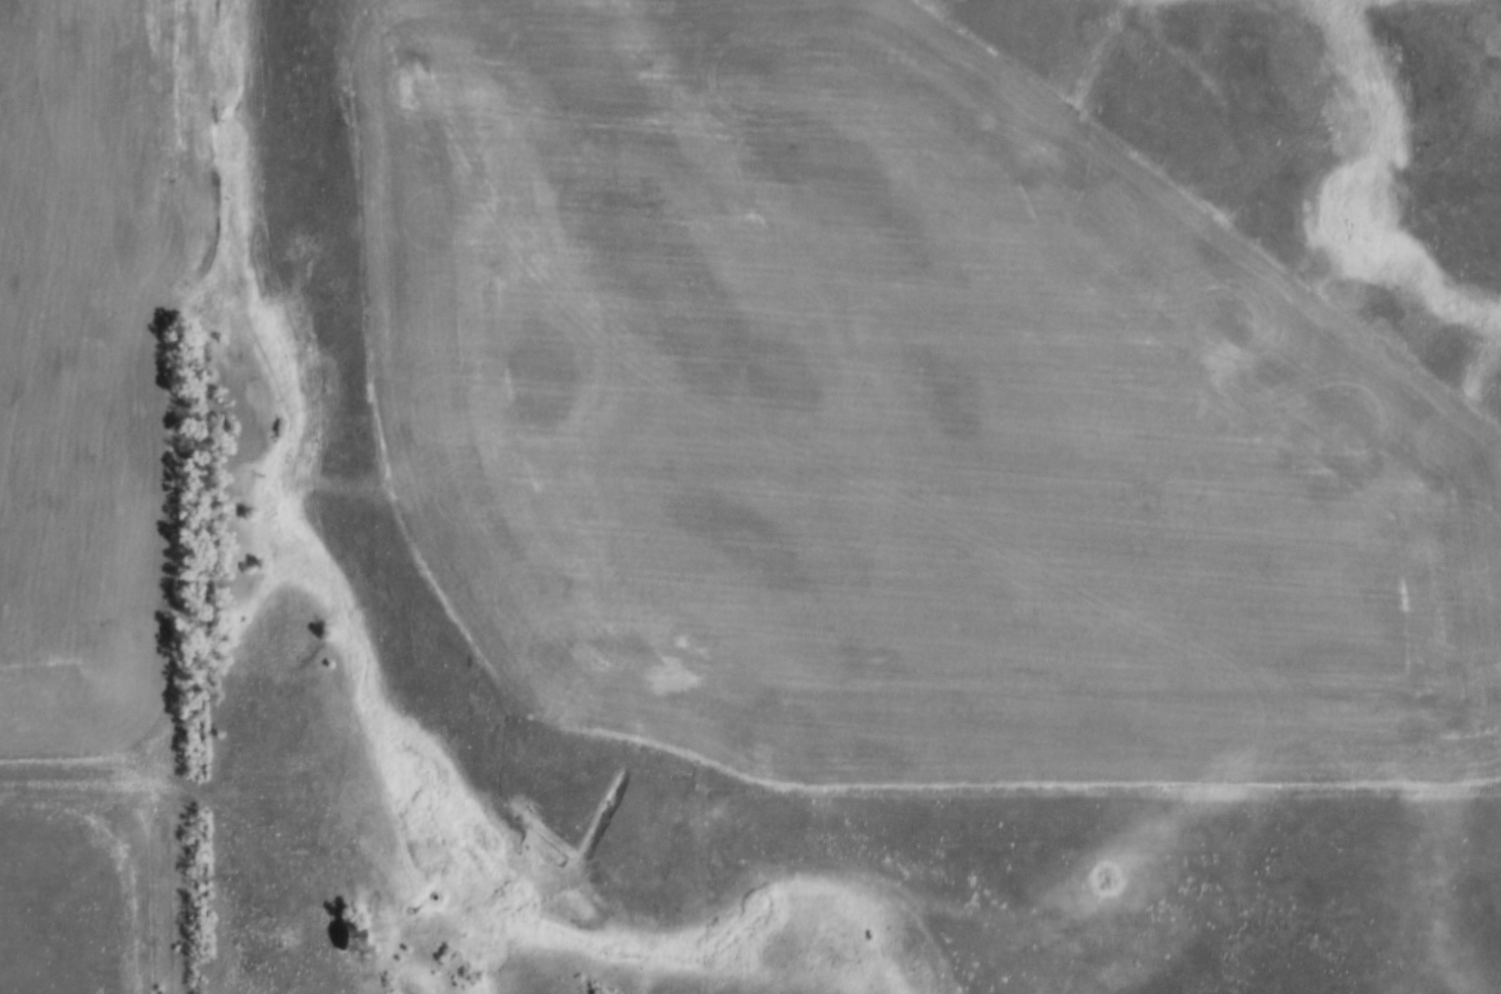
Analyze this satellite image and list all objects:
road: (198, 788)
building: (356, 938)

